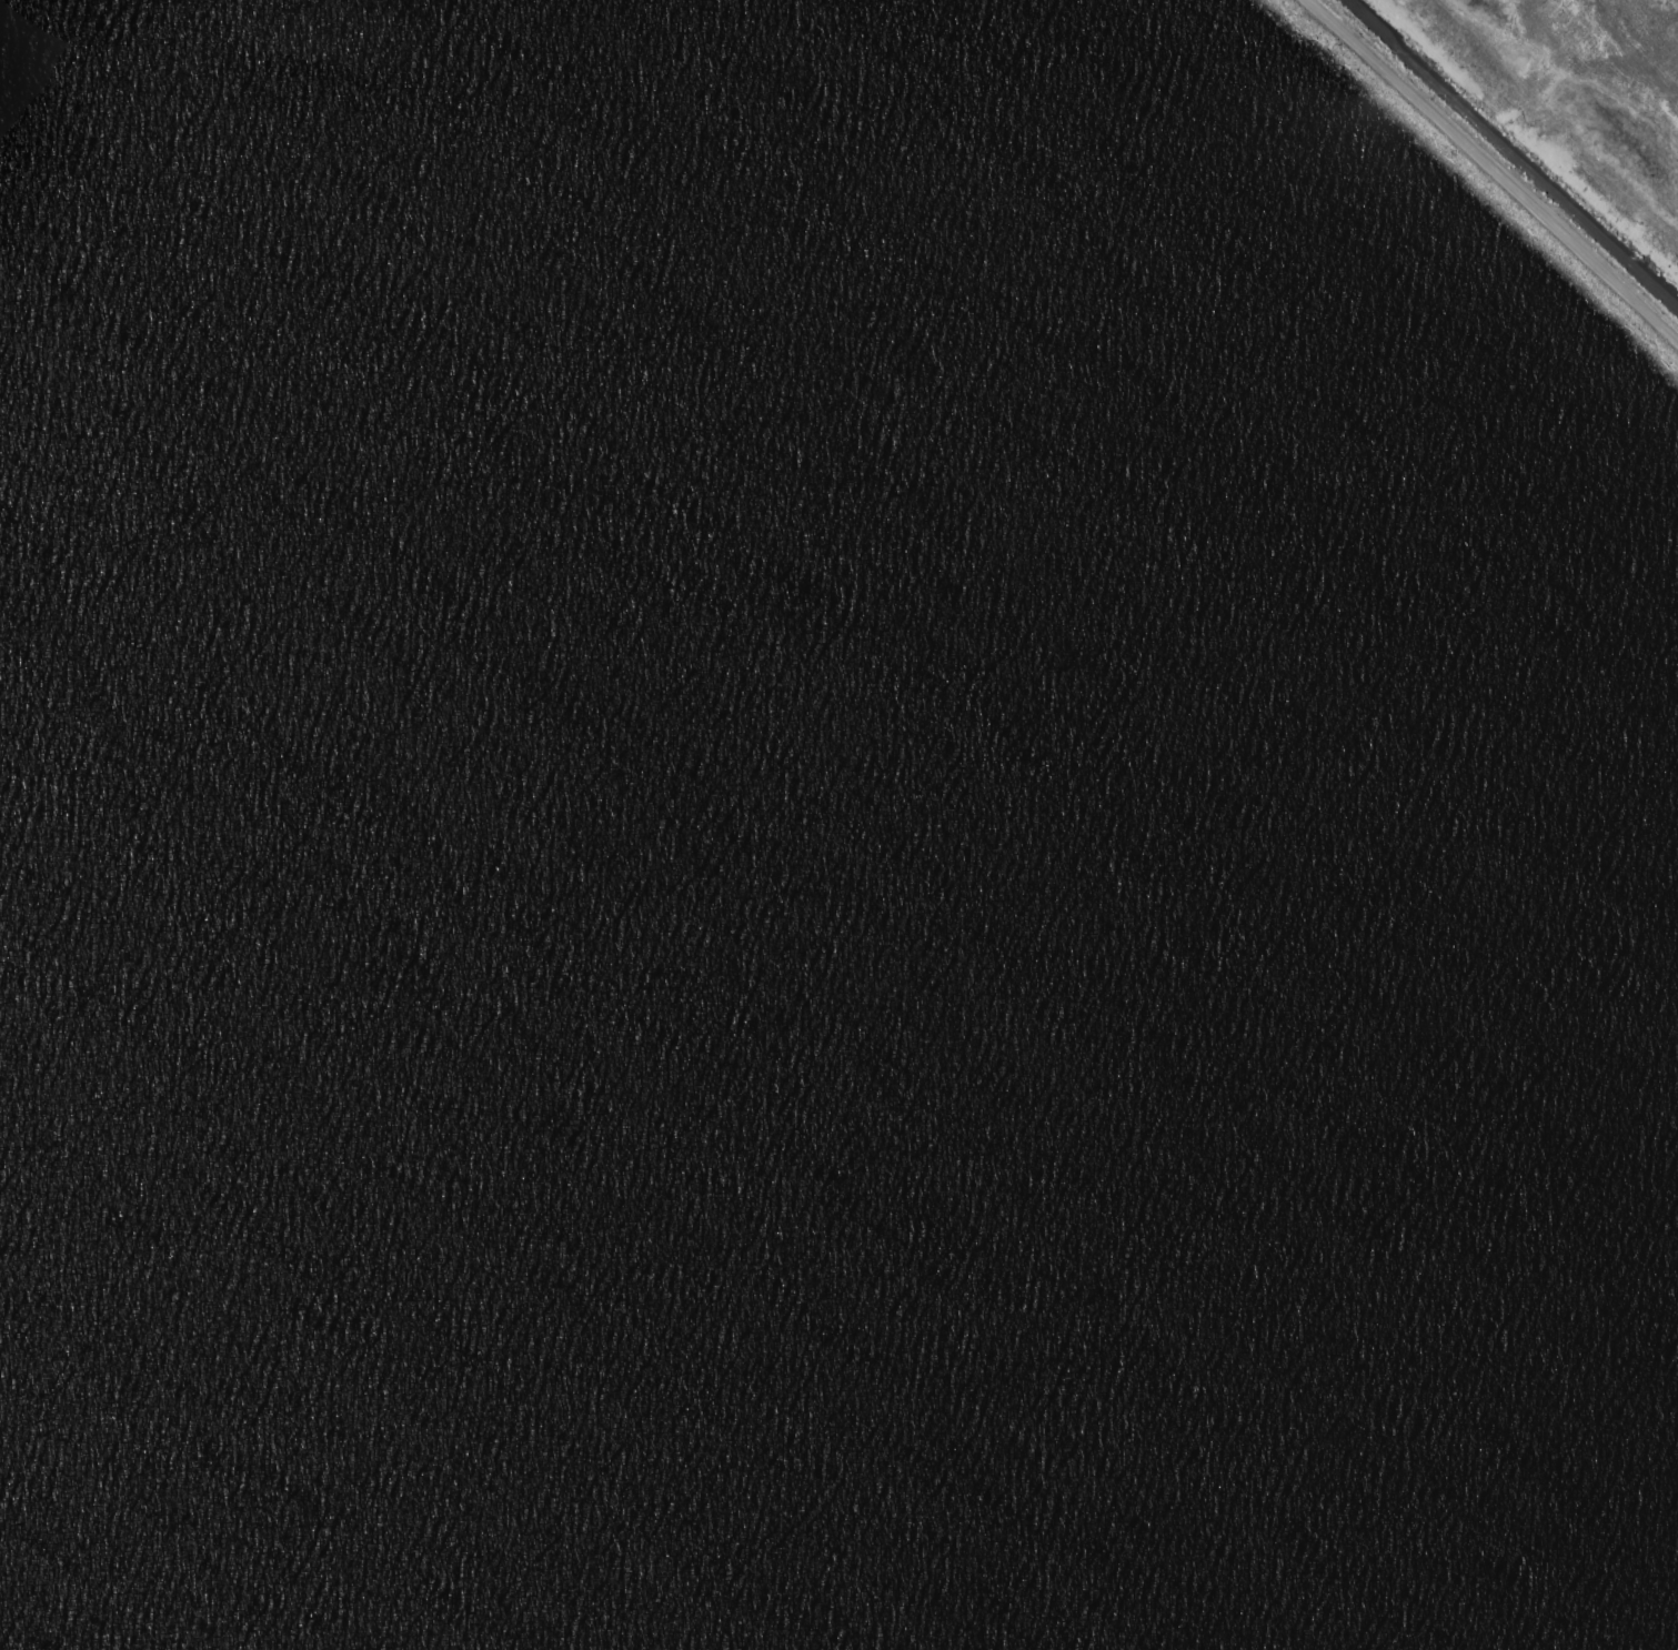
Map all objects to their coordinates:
airport: (1543, 120)

